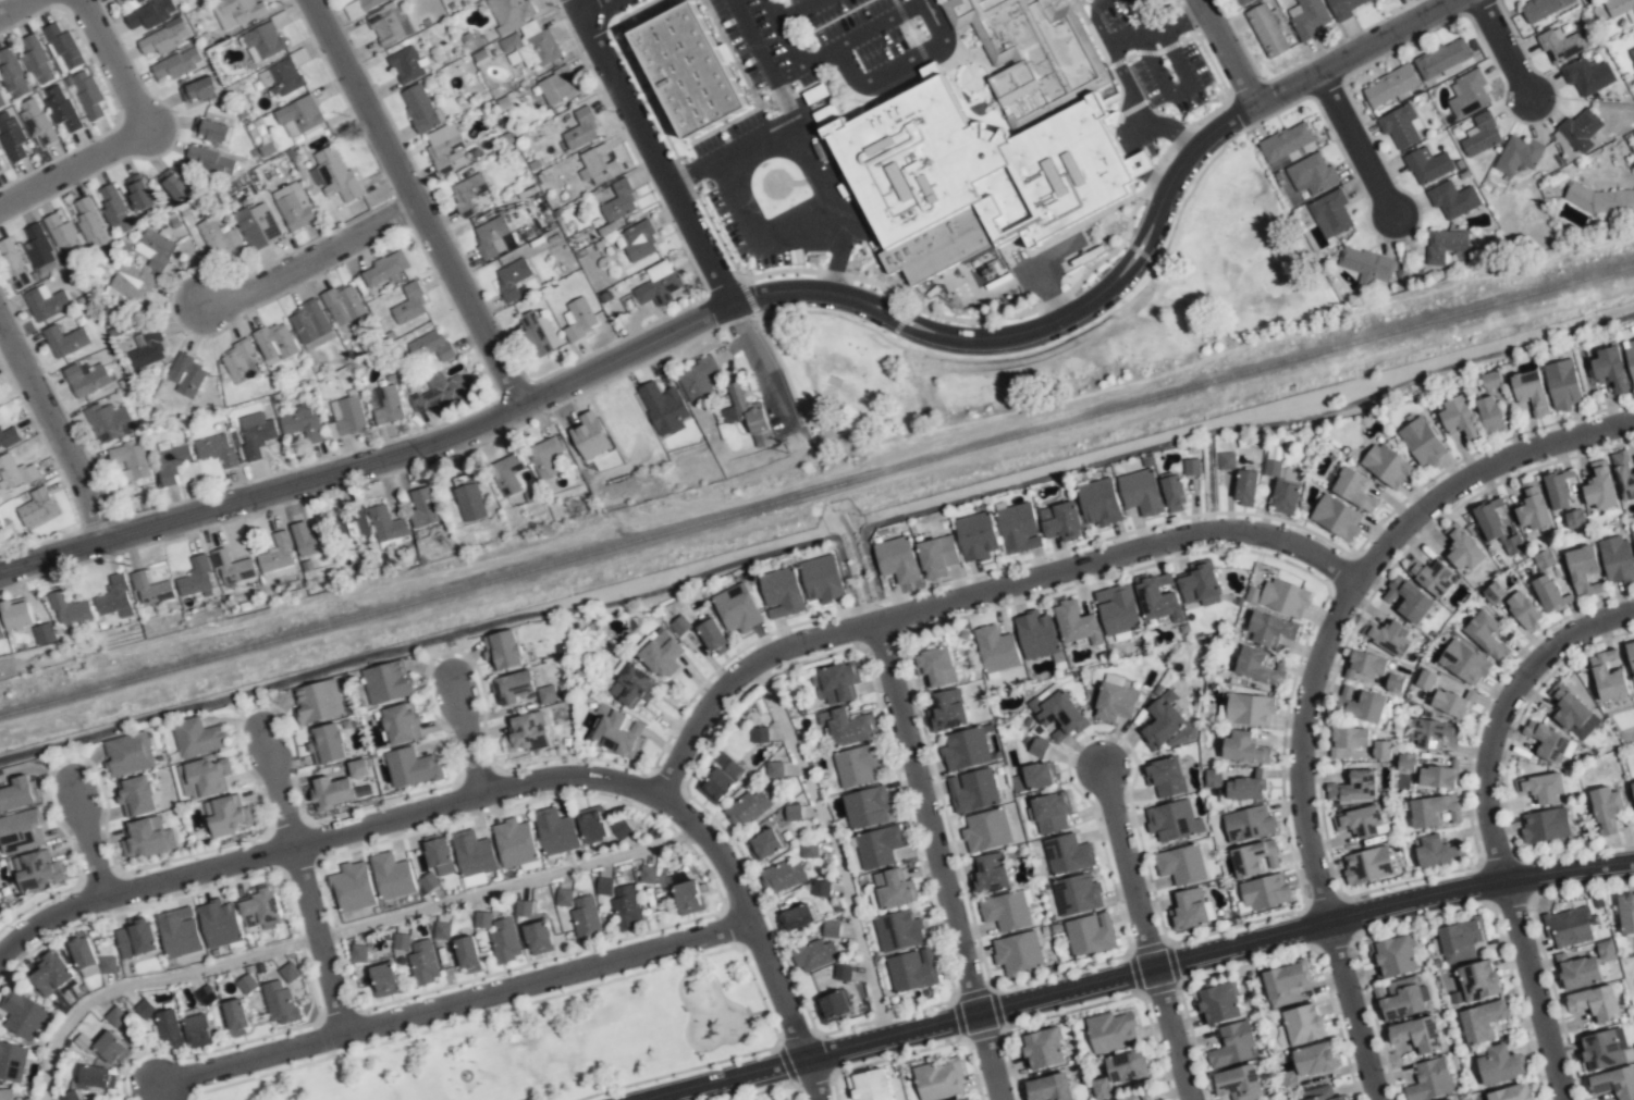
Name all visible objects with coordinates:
building: (137, 0)
building: (1375, 0)
building: (121, 1)
building: (1242, 1)
building: (368, 3)
road: (12, 5)
road: (591, 5)
building: (1342, 8)
building: (1540, 8)
building: (1620, 8)
building: (354, 9)
building: (236, 11)
building: (150, 13)
building: (1309, 18)
building: (390, 26)
building: (1266, 30)
building: (1633, 32)
building: (523, 33)
building: (164, 38)
parking lot: (835, 38)
building: (266, 40)
building: (1560, 45)
building: (62, 47)
road: (1506, 50)
building: (33, 51)
road: (1226, 51)
road: (1356, 53)
building: (1632, 53)
building: (687, 55)
building: (1442, 59)
building: (177, 63)
building: (406, 65)
road: (1118, 69)
building: (12, 73)
building: (285, 76)
building: (1587, 76)
road: (778, 78)
building: (555, 86)
building: (1389, 86)
building: (199, 90)
building: (87, 95)
building: (1467, 95)
building: (61, 108)
building: (420, 108)
building: (299, 115)
building: (36, 122)
building: (1401, 126)
building: (581, 129)
building: (210, 131)
building: (1581, 131)
building: (1481, 135)
building: (12, 136)
road: (137, 136)
road: (804, 144)
building: (1286, 144)
road: (1359, 147)
building: (445, 148)
building: (1518, 155)
building: (984, 157)
building: (209, 161)
building: (598, 165)
building: (1427, 165)
building: (0, 169)
building: (1312, 174)
building: (334, 175)
road: (1612, 175)
helipad: (775, 184)
building: (174, 185)
building: (138, 191)
building: (468, 193)
building: (1453, 199)
building: (1600, 200)
road: (418, 201)
building: (617, 202)
building: (293, 207)
building: (115, 210)
road: (687, 211)
building: (1330, 214)
building: (90, 223)
building: (257, 225)
building: (214, 236)
building: (490, 236)
building: (63, 237)
building: (638, 240)
building: (38, 245)
building: (1446, 245)
building: (155, 249)
road: (314, 260)
building: (13, 263)
building: (1366, 265)
building: (385, 269)
building: (513, 280)
building: (131, 282)
building: (658, 284)
park: (1232, 289)
building: (408, 302)
building: (46, 304)
building: (343, 305)
building: (578, 317)
road: (1041, 321)
building: (310, 324)
building: (539, 333)
building: (64, 341)
building: (274, 342)
building: (431, 346)
building: (147, 349)
building: (1630, 358)
building: (239, 361)
building: (1610, 370)
building: (185, 374)
building: (696, 379)
building: (86, 380)
building: (1562, 384)
building: (1529, 392)
building: (438, 393)
building: (385, 404)
building: (663, 408)
building: (1489, 413)
building: (348, 415)
building: (748, 415)
building: (1459, 419)
building: (109, 422)
building: (300, 423)
road: (56, 428)
building: (256, 433)
building: (8, 436)
building: (589, 436)
building: (1422, 443)
road: (803, 444)
building: (216, 449)
building: (544, 457)
road: (377, 459)
building: (130, 460)
building: (1226, 460)
building: (171, 462)
building: (1387, 466)
building: (1271, 468)
building: (15, 472)
building: (511, 473)
building: (1623, 475)
road: (1209, 481)
building: (1599, 486)
building: (1245, 489)
building: (1353, 489)
building: (1559, 489)
railway: (816, 491)
building: (1141, 492)
building: (1174, 494)
building: (1286, 498)
building: (1098, 502)
building: (469, 503)
building: (421, 506)
building: (36, 507)
building: (1532, 507)
building: (1336, 518)
building: (1060, 521)
building: (1490, 522)
building: (384, 523)
building: (355, 527)
building: (1018, 528)
building: (1633, 535)
building: (975, 536)
building: (308, 540)
building: (1513, 544)
building: (1463, 549)
road: (852, 553)
building: (936, 556)
building: (275, 558)
building: (897, 559)
building: (1544, 559)
building: (1617, 559)
building: (231, 567)
building: (1581, 569)
building: (1430, 577)
building: (195, 578)
building: (822, 578)
road: (847, 584)
building: (1200, 584)
building: (150, 589)
road: (975, 592)
building: (1495, 592)
building: (781, 593)
building: (1549, 593)
road: (1353, 594)
building: (113, 597)
building: (1283, 597)
building: (1157, 598)
building: (1409, 601)
building: (737, 608)
building: (69, 609)
road: (870, 609)
building: (1118, 610)
building: (1523, 610)
building: (16, 614)
building: (1076, 622)
building: (1270, 629)
building: (0, 630)
building: (42, 632)
building: (712, 635)
building: (1036, 635)
building: (1486, 635)
building: (1388, 638)
building: (996, 650)
building: (502, 651)
building: (660, 654)
road: (445, 655)
building: (1631, 655)
building: (1464, 663)
building: (1365, 665)
building: (1257, 666)
building: (935, 667)
building: (1607, 677)
building: (385, 683)
building: (838, 683)
building: (1395, 683)
building: (632, 685)
building: (513, 687)
building: (546, 694)
building: (319, 702)
building: (1115, 702)
building: (1452, 703)
building: (1363, 706)
road: (254, 707)
building: (1249, 709)
building: (945, 712)
building: (1572, 713)
building: (1056, 714)
building: (1163, 721)
building: (400, 724)
building: (846, 727)
building: (616, 732)
building: (526, 733)
building: (1433, 733)
road: (467, 734)
building: (760, 734)
building: (198, 737)
building: (1347, 740)
building: (1548, 742)
building: (327, 744)
building: (1037, 747)
building: (966, 749)
building: (1243, 749)
building: (1381, 751)
building: (128, 754)
road: (64, 761)
building: (1406, 764)
building: (857, 765)
building: (410, 767)
building: (358, 768)
building: (775, 769)
building: (207, 777)
building: (1165, 777)
building: (1437, 777)
building: (1032, 778)
building: (716, 786)
building: (1238, 786)
road: (274, 787)
building: (1354, 787)
building: (1632, 787)
building: (1540, 788)
building: (972, 790)
building: (332, 792)
building: (16, 794)
building: (136, 796)
road: (468, 799)
building: (747, 807)
building: (867, 807)
building: (1606, 808)
building: (1433, 811)
building: (793, 813)
building: (1051, 813)
building: (224, 816)
building: (1172, 821)
building: (1361, 821)
road: (1490, 823)
building: (1248, 824)
building: (592, 825)
building: (1545, 826)
building: (622, 829)
building: (20, 830)
building: (555, 831)
building: (986, 831)
road: (85, 839)
building: (146, 839)
building: (515, 844)
building: (764, 844)
road: (834, 845)
building: (877, 846)
building: (809, 850)
building: (1435, 851)
building: (439, 854)
building: (474, 854)
building: (1067, 854)
building: (1254, 857)
road: (936, 861)
building: (1181, 864)
building: (1367, 865)
building: (35, 869)
road: (1129, 869)
building: (988, 874)
building: (647, 875)
building: (392, 877)
building: (782, 877)
building: (604, 886)
building: (353, 887)
building: (820, 888)
building: (890, 889)
building: (1265, 892)
building: (1077, 894)
building: (687, 897)
building: (563, 898)
building: (260, 906)
building: (626, 907)
building: (523, 909)
building: (1189, 909)
building: (1006, 911)
building: (1626, 914)
building: (586, 918)
building: (796, 918)
building: (482, 919)
building: (219, 924)
building: (1569, 926)
building: (442, 929)
building: (831, 929)
road: (341, 931)
building: (898, 931)
building: (179, 932)
building: (1090, 935)
building: (539, 937)
building: (135, 938)
road: (317, 940)
building: (504, 940)
building: (401, 941)
building: (1457, 941)
building: (82, 950)
building: (1018, 952)
building: (358, 953)
building: (467, 953)
road: (1217, 954)
building: (814, 955)
building: (1393, 955)
building: (423, 962)
building: (108, 965)
building: (912, 971)
building: (1577, 971)
building: (290, 972)
building: (50, 973)
building: (843, 973)
building: (384, 979)
building: (1478, 980)
building: (246, 984)
building: (1286, 984)
building: (1399, 999)
building: (279, 1002)
road: (453, 1002)
building: (1218, 1003)
building: (1595, 1003)
building: (832, 1006)
building: (144, 1009)
road: (1354, 1011)
building: (23, 1015)
building: (115, 1016)
building: (235, 1016)
building: (1482, 1021)
building: (1303, 1025)
building: (169, 1026)
building: (197, 1030)
building: (1110, 1031)
building: (1417, 1034)
road: (1174, 1035)
park: (545, 1040)
building: (1231, 1046)
building: (109, 1048)
building: (1043, 1049)
building: (1600, 1050)
building: (1314, 1059)
building: (12, 1061)
building: (1498, 1064)
building: (1120, 1072)
building: (94, 1076)
road: (723, 1079)
road: (809, 1079)
building: (939, 1079)
building: (1429, 1080)
building: (1238, 1084)
building: (1613, 1085)
building: (869, 1086)
building: (1049, 1088)
road: (161, 1093)
building: (1320, 1093)
building: (1512, 1093)
building: (5, 1095)
building: (69, 1096)
building: (1139, 1097)
building: (967, 1099)
building: (1452, 1099)

